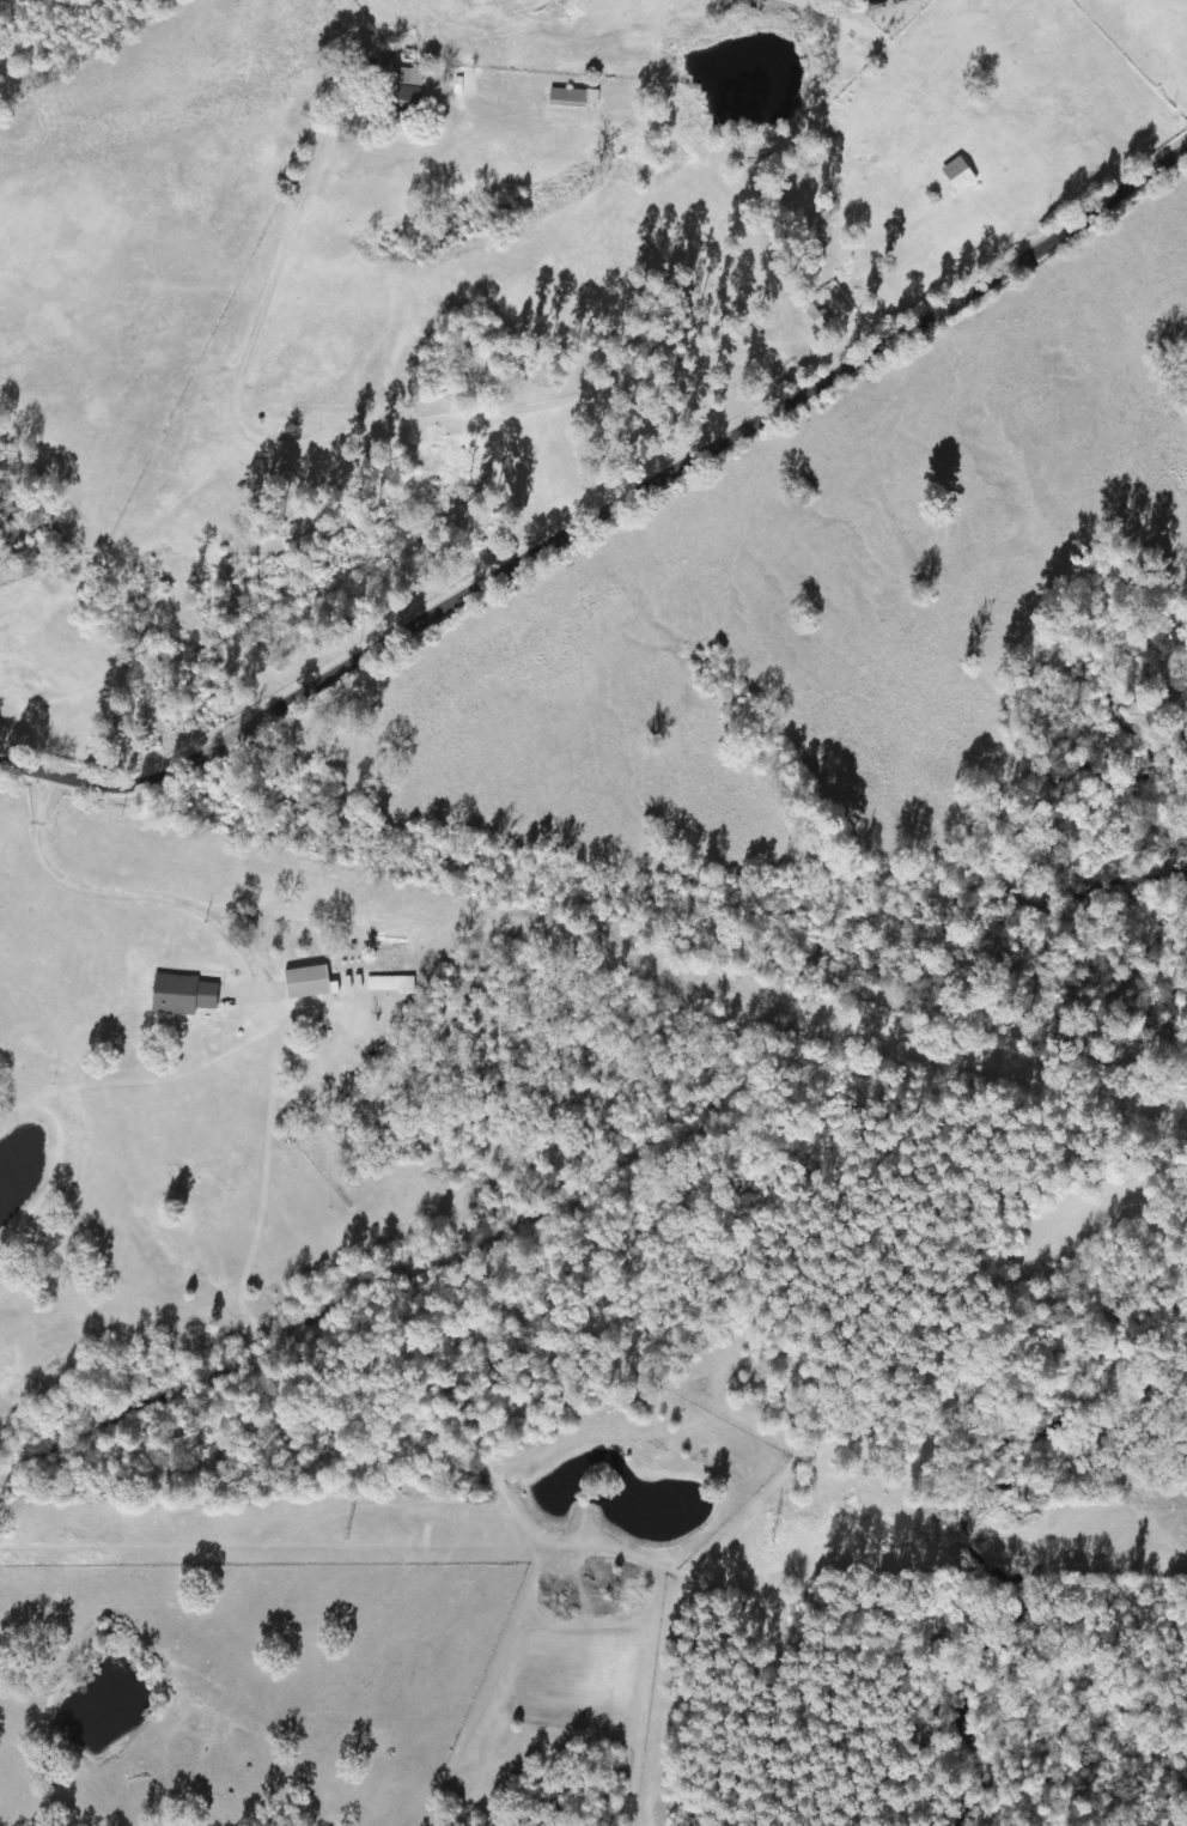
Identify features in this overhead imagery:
road: (982, 67)
building: (402, 92)
building: (559, 97)
building: (957, 175)
building: (812, 314)
road: (608, 529)
building: (306, 983)
building: (389, 984)
building: (182, 995)
power tower: (342, 1530)
power tower: (765, 1531)

